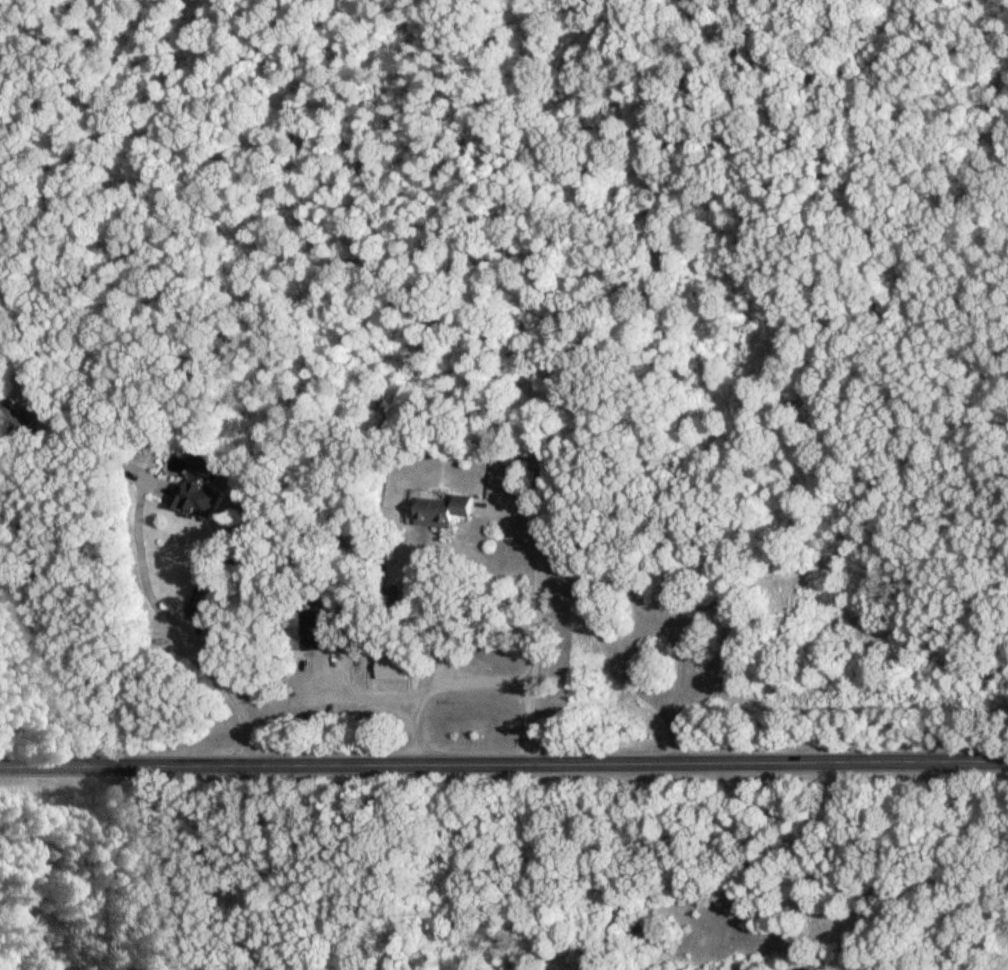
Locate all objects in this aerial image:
building: (14, 420)
building: (196, 490)
building: (440, 512)
road: (20, 573)
building: (203, 602)
road: (534, 619)
road: (179, 622)
building: (315, 632)
road: (625, 672)
road: (428, 677)
road: (503, 765)
road: (354, 867)

